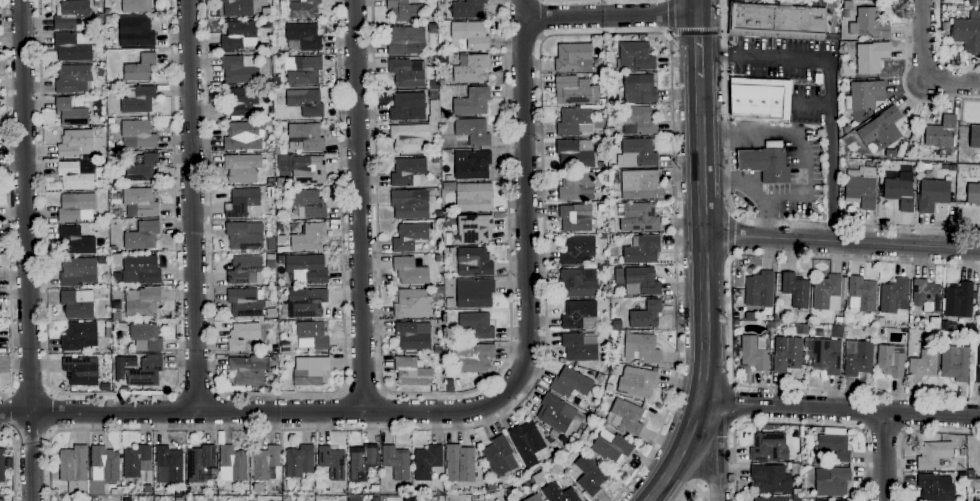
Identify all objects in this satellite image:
building: (946, 1)
building: (972, 2)
building: (96, 3)
building: (136, 6)
road: (696, 7)
building: (238, 8)
building: (847, 8)
building: (303, 9)
building: (468, 9)
building: (404, 11)
building: (106, 12)
building: (266, 12)
building: (70, 14)
road: (608, 16)
road: (670, 16)
road: (541, 19)
building: (777, 21)
building: (265, 23)
building: (869, 24)
building: (945, 29)
building: (136, 32)
road: (696, 32)
building: (239, 35)
building: (471, 35)
building: (966, 35)
building: (302, 37)
building: (403, 39)
road: (697, 46)
building: (73, 47)
building: (443, 49)
road: (939, 52)
building: (282, 53)
road: (763, 56)
building: (635, 57)
building: (871, 57)
building: (574, 58)
building: (439, 66)
building: (471, 68)
road: (923, 68)
building: (140, 69)
building: (240, 69)
building: (304, 71)
building: (99, 73)
building: (407, 73)
building: (73, 79)
building: (441, 82)
building: (433, 85)
road: (904, 85)
building: (268, 87)
building: (639, 88)
building: (573, 90)
building: (433, 94)
building: (865, 95)
building: (759, 99)
building: (138, 100)
building: (239, 101)
building: (306, 102)
building: (472, 102)
building: (602, 102)
road: (812, 104)
building: (408, 107)
building: (71, 114)
building: (446, 115)
building: (110, 121)
building: (638, 121)
building: (574, 122)
building: (268, 123)
building: (882, 128)
building: (473, 132)
building: (611, 133)
building: (601, 134)
building: (137, 135)
building: (941, 135)
building: (244, 137)
building: (974, 137)
building: (305, 138)
building: (409, 138)
building: (74, 143)
building: (433, 149)
building: (902, 149)
road: (829, 150)
building: (276, 151)
building: (639, 153)
building: (575, 154)
building: (890, 154)
road: (801, 157)
building: (435, 160)
building: (766, 164)
gas station: (766, 164)
building: (875, 164)
building: (474, 166)
building: (142, 168)
building: (242, 168)
building: (308, 170)
building: (408, 172)
building: (77, 175)
road: (735, 181)
building: (271, 182)
building: (639, 184)
building: (576, 186)
building: (449, 187)
building: (861, 187)
road: (542, 188)
building: (899, 193)
building: (973, 194)
building: (932, 195)
building: (474, 197)
road: (524, 199)
road: (7, 200)
building: (141, 201)
building: (241, 202)
building: (307, 204)
building: (410, 204)
road: (358, 205)
road: (192, 206)
building: (76, 207)
building: (612, 207)
building: (601, 208)
building: (576, 218)
building: (639, 218)
road: (748, 220)
building: (613, 222)
building: (475, 229)
building: (142, 236)
road: (730, 236)
building: (242, 237)
building: (409, 237)
building: (308, 238)
building: (281, 240)
building: (76, 241)
road: (841, 241)
road: (26, 250)
building: (577, 250)
building: (642, 250)
building: (448, 251)
building: (102, 260)
building: (474, 262)
building: (270, 264)
building: (142, 268)
building: (307, 268)
building: (602, 268)
building: (244, 270)
building: (409, 271)
building: (78, 272)
building: (643, 280)
building: (579, 282)
building: (604, 289)
building: (759, 289)
building: (440, 290)
building: (795, 290)
building: (827, 293)
building: (474, 294)
building: (892, 295)
building: (979, 295)
road: (703, 296)
building: (861, 296)
building: (926, 296)
building: (958, 300)
building: (142, 302)
building: (245, 303)
building: (308, 303)
building: (77, 304)
building: (114, 304)
building: (412, 304)
building: (450, 306)
building: (271, 313)
building: (579, 315)
building: (646, 315)
building: (287, 317)
building: (750, 317)
road: (732, 319)
building: (838, 320)
building: (872, 321)
building: (440, 322)
building: (914, 323)
building: (477, 325)
building: (617, 325)
building: (769, 325)
building: (122, 328)
building: (839, 332)
building: (873, 332)
building: (107, 333)
building: (308, 334)
building: (243, 336)
building: (413, 336)
building: (79, 337)
building: (145, 337)
building: (279, 338)
building: (806, 342)
building: (287, 347)
building: (580, 347)
building: (640, 348)
building: (438, 350)
building: (753, 354)
building: (786, 354)
building: (450, 355)
building: (826, 356)
building: (473, 357)
building: (275, 358)
building: (858, 358)
building: (890, 361)
building: (923, 363)
building: (955, 363)
building: (978, 366)
building: (143, 370)
building: (249, 370)
building: (81, 371)
building: (310, 371)
building: (411, 372)
building: (600, 377)
building: (637, 382)
building: (570, 383)
building: (449, 384)
building: (609, 388)
road: (30, 391)
road: (196, 391)
road: (362, 392)
road: (435, 393)
road: (280, 394)
road: (112, 395)
road: (736, 404)
road: (839, 409)
road: (10, 411)
road: (51, 412)
road: (254, 412)
building: (557, 413)
building: (625, 417)
building: (595, 423)
road: (796, 424)
building: (770, 427)
building: (801, 432)
road: (883, 432)
road: (30, 433)
road: (908, 433)
building: (554, 434)
building: (528, 444)
building: (834, 444)
building: (611, 447)
building: (769, 448)
building: (962, 452)
building: (979, 452)
building: (499, 456)
road: (716, 456)
road: (886, 456)
building: (935, 456)
road: (13, 461)
building: (136, 461)
building: (299, 461)
building: (234, 462)
building: (361, 462)
building: (396, 462)
building: (426, 462)
building: (265, 463)
building: (332, 463)
building: (8, 464)
building: (460, 464)
building: (168, 465)
building: (201, 465)
building: (2, 466)
building: (795, 468)
building: (103, 469)
building: (74, 470)
building: (971, 474)
building: (590, 475)
building: (539, 478)
building: (769, 479)
road: (711, 481)
building: (529, 482)
building: (832, 482)
building: (491, 486)
building: (245, 487)
building: (409, 487)
road: (704, 487)
building: (258, 488)
road: (689, 488)
building: (147, 489)
building: (934, 489)
building: (375, 490)
building: (52, 491)
building: (115, 492)
building: (559, 493)
building: (220, 494)
building: (796, 494)
building: (805, 494)
building: (473, 498)
building: (534, 498)
building: (94, 499)
building: (179, 499)
building: (253, 499)
building: (418, 499)
building: (771, 499)
building: (2, 500)
building: (127, 500)
building: (837, 500)

